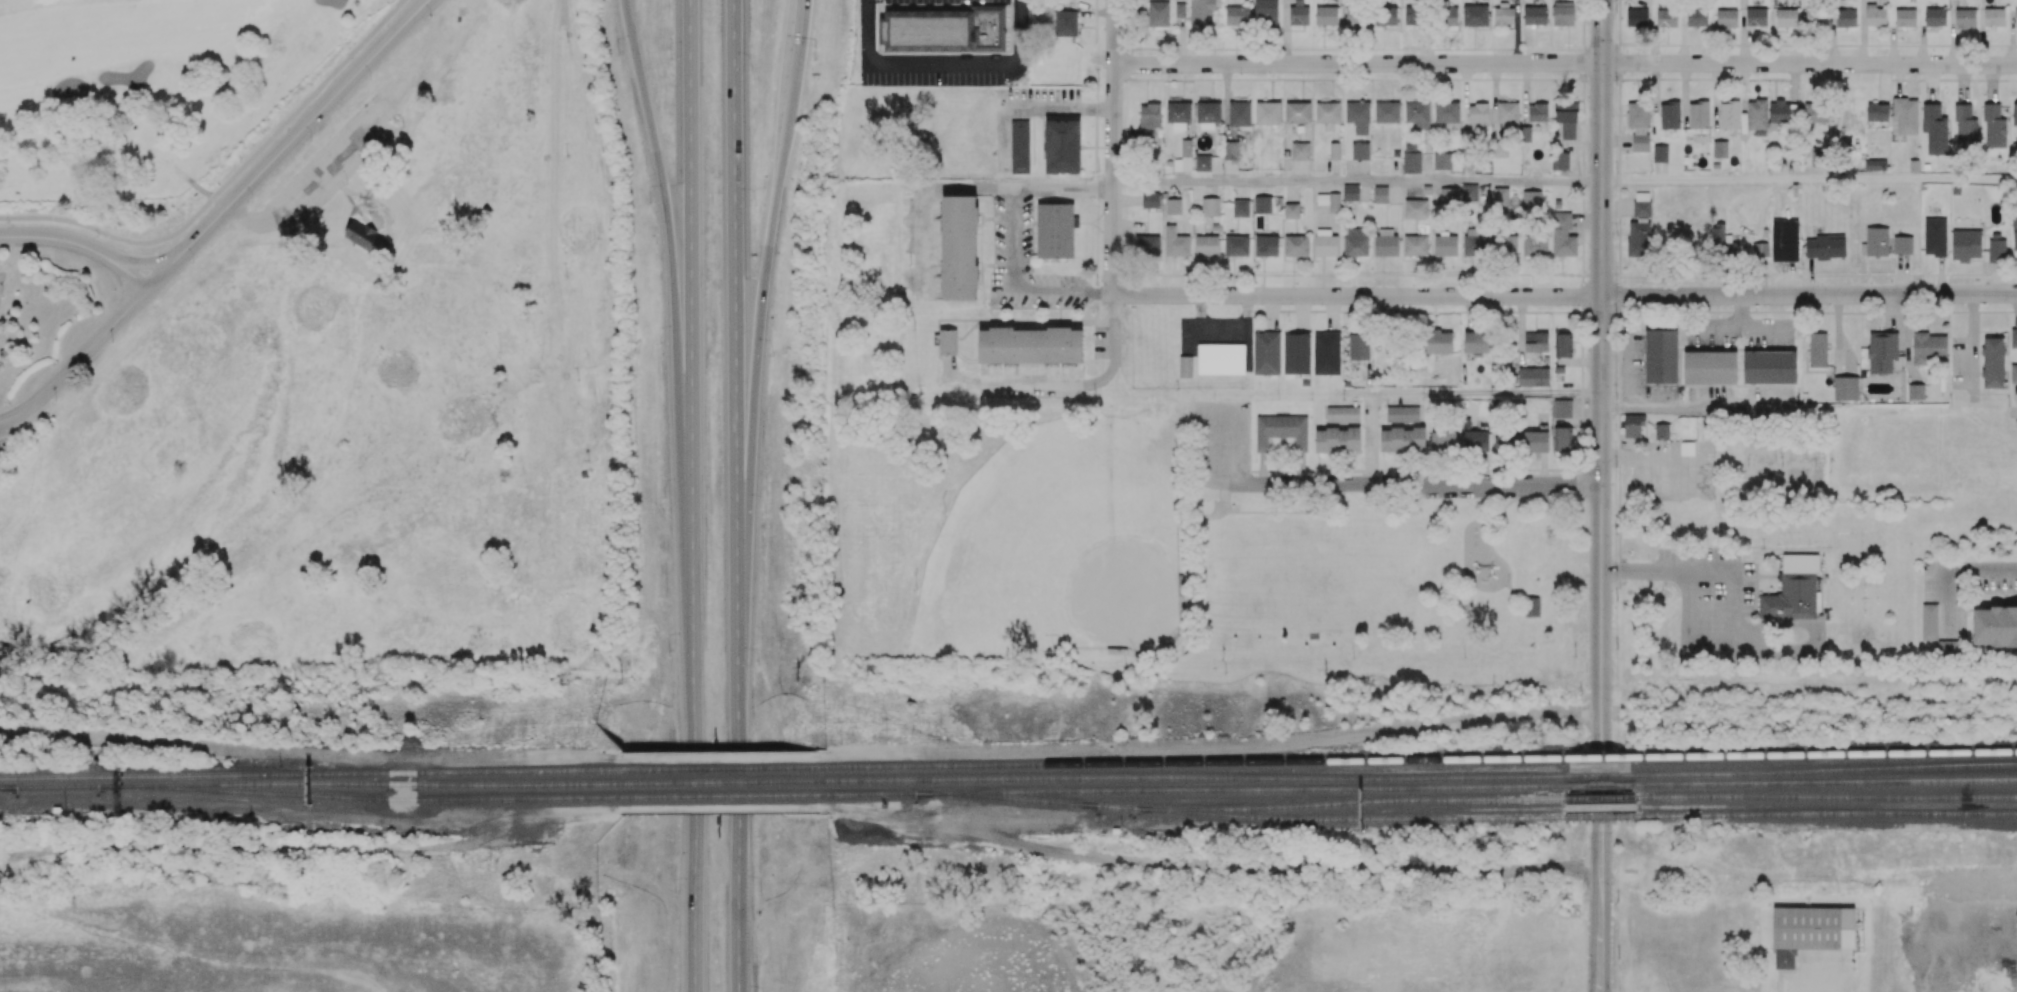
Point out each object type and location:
road: (799, 18)
building: (461, 21)
building: (944, 31)
street lamp: (617, 55)
street lamp: (672, 59)
street lamp: (815, 59)
road: (1358, 64)
road: (1809, 64)
road: (417, 65)
street lamp: (754, 71)
street lamp: (371, 79)
park: (146, 87)
road: (307, 98)
road: (1059, 109)
street lamp: (312, 141)
road: (1114, 147)
road: (118, 162)
road: (335, 163)
parking lot: (336, 163)
road: (1358, 182)
road: (1809, 182)
road: (926, 193)
street lamp: (252, 201)
street lamp: (649, 203)
street lamp: (756, 205)
road: (218, 217)
street lamp: (8, 222)
road: (252, 223)
street lamp: (97, 235)
road: (112, 236)
road: (1011, 236)
building: (364, 237)
road: (81, 243)
street lamp: (193, 261)
road: (146, 263)
road: (673, 272)
parking lot: (3, 282)
building: (17, 293)
road: (1809, 294)
road: (1357, 296)
street lamp: (4, 298)
road: (735, 324)
road: (759, 341)
street lamp: (112, 343)
street lamp: (660, 343)
street lamp: (773, 355)
road: (1087, 380)
road: (1486, 394)
road: (1350, 395)
street lamp: (56, 402)
park: (359, 403)
road: (1218, 408)
road: (1692, 408)
building: (1635, 428)
building: (46, 432)
building: (1663, 433)
road: (1371, 439)
parking lot: (1221, 445)
road: (1624, 459)
park: (1784, 466)
parking lot: (1674, 472)
building: (584, 475)
road: (1402, 484)
road: (1708, 484)
parking lot: (1491, 492)
road: (690, 496)
road: (1601, 496)
street lamp: (664, 497)
street lamp: (764, 512)
park: (1062, 543)
park: (1851, 551)
park: (1173, 557)
road: (1952, 568)
park: (1312, 573)
road: (1645, 573)
road: (1735, 583)
building: (1795, 592)
parking lot: (1712, 602)
building: (1532, 607)
road: (1690, 628)
road: (1815, 637)
building: (1314, 638)
road: (1745, 639)
street lamp: (668, 651)
street lamp: (759, 664)
railway: (1829, 752)
road: (1214, 753)
railway: (1605, 755)
road: (724, 758)
road: (310, 760)
railway: (1197, 761)
railway: (724, 768)
railway: (1828, 770)
railway: (310, 772)
railway: (1606, 774)
railway: (1199, 778)
railway: (724, 782)
railway: (1818, 783)
railway: (310, 784)
railway: (40, 785)
railway: (1596, 786)
railway: (1199, 789)
railway: (724, 795)
railway: (1827, 795)
railway: (362, 797)
railway: (1603, 798)
railway: (1242, 807)
railway: (1827, 813)
railway: (1601, 816)
railway: (1350, 818)
road: (738, 820)
street lamp: (674, 891)
street lamp: (759, 891)
road: (157, 986)

